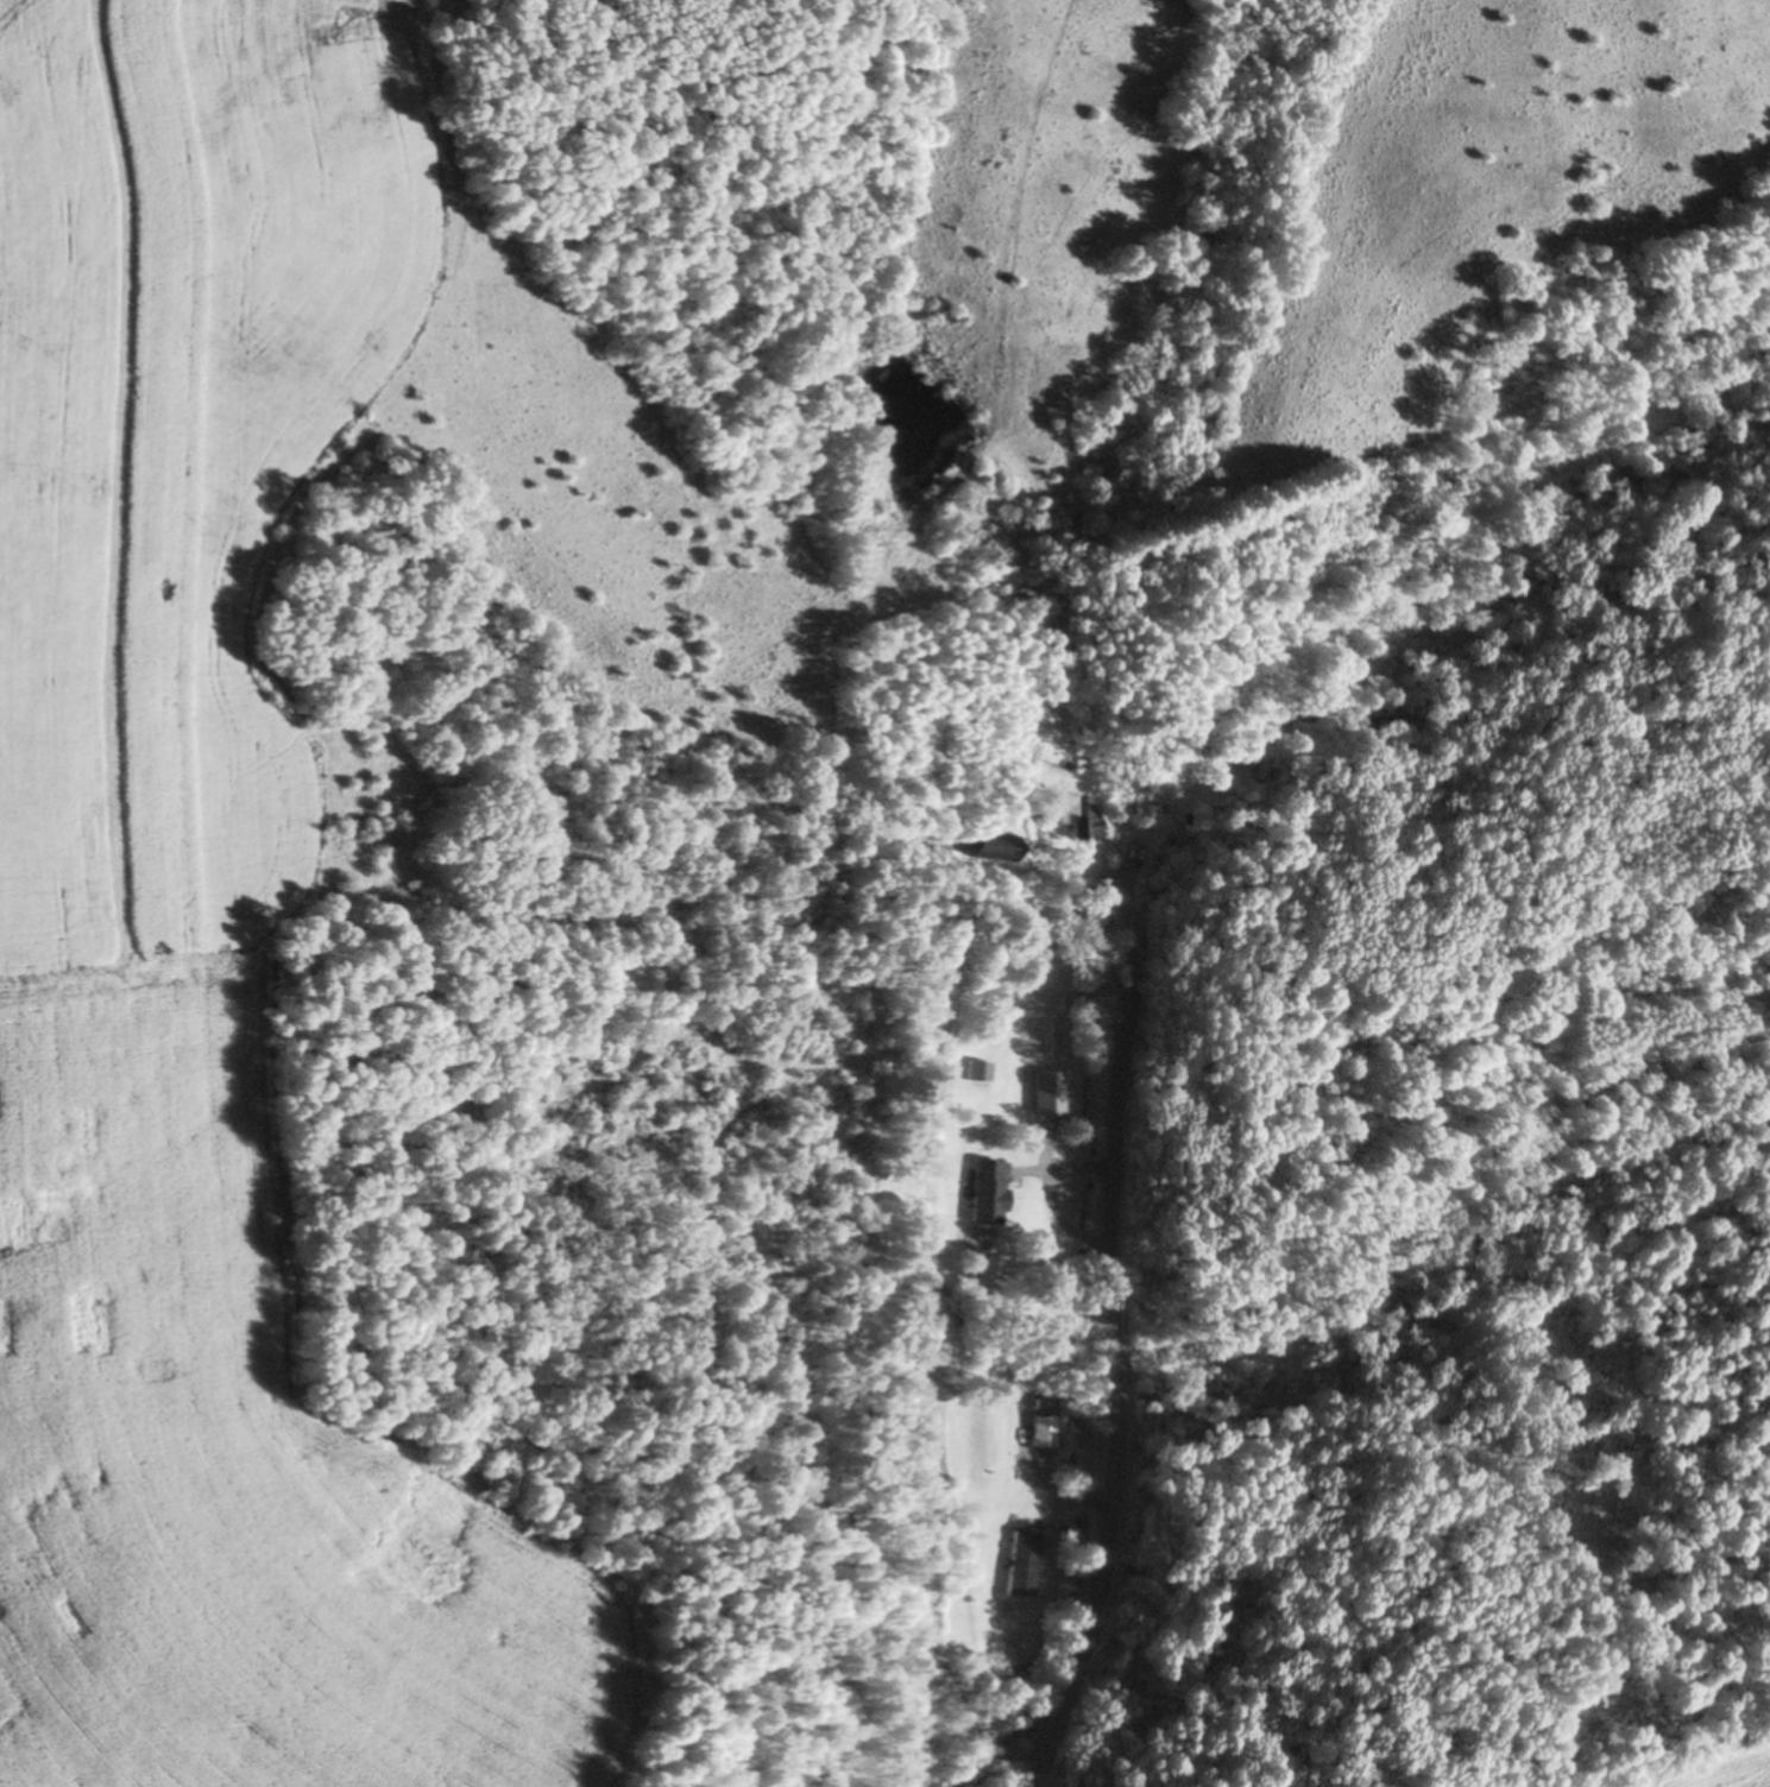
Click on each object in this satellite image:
building: (1072, 820)
building: (983, 847)
building: (975, 1073)
building: (1040, 1093)
building: (982, 1193)
road: (1106, 1353)
building: (1033, 1404)
building: (1035, 1433)
building: (1015, 1564)

